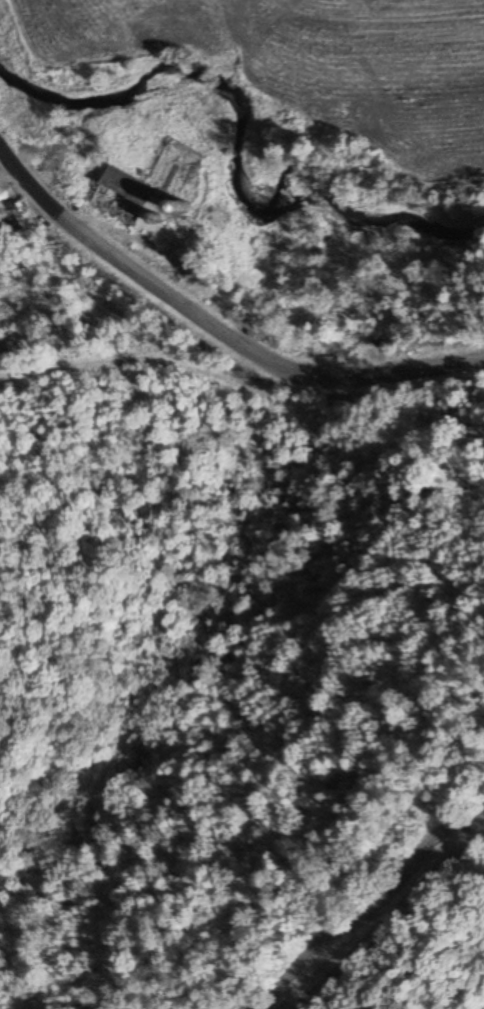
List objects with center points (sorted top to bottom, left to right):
building: (127, 201)
road: (215, 326)
road: (178, 366)

